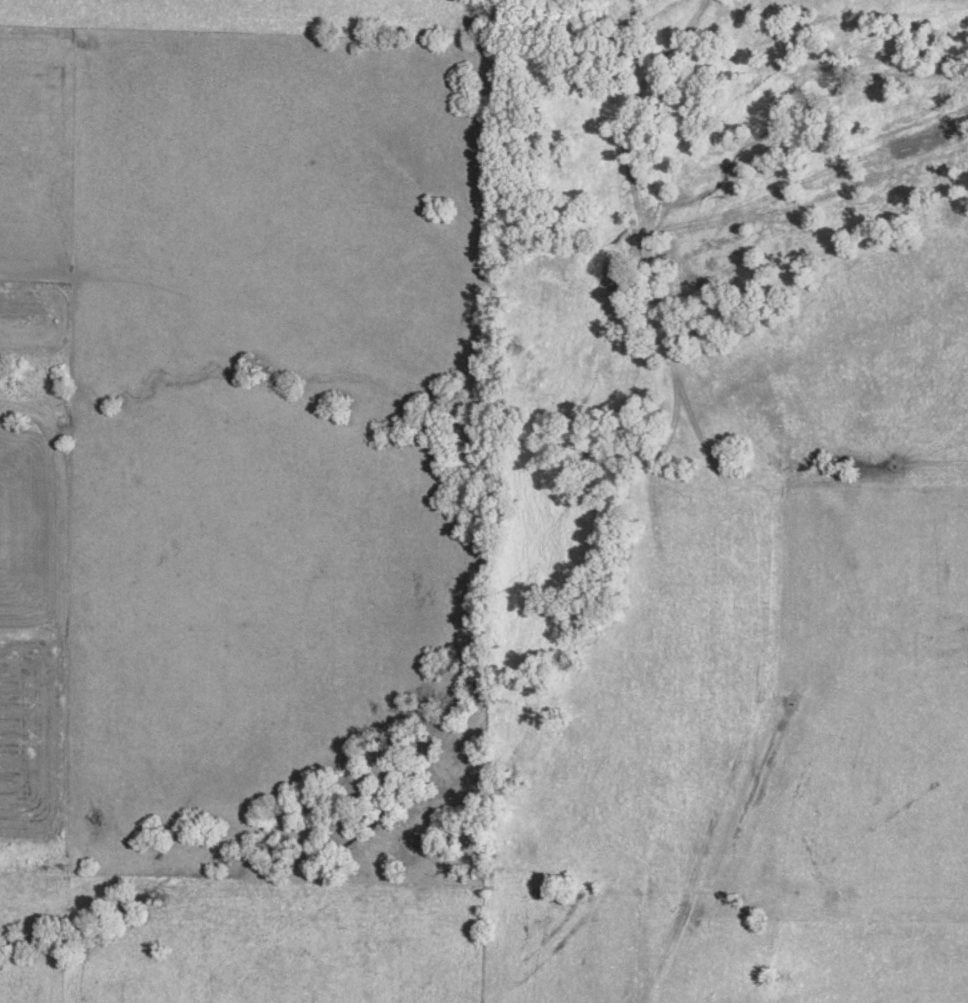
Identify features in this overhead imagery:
building: (599, 20)

